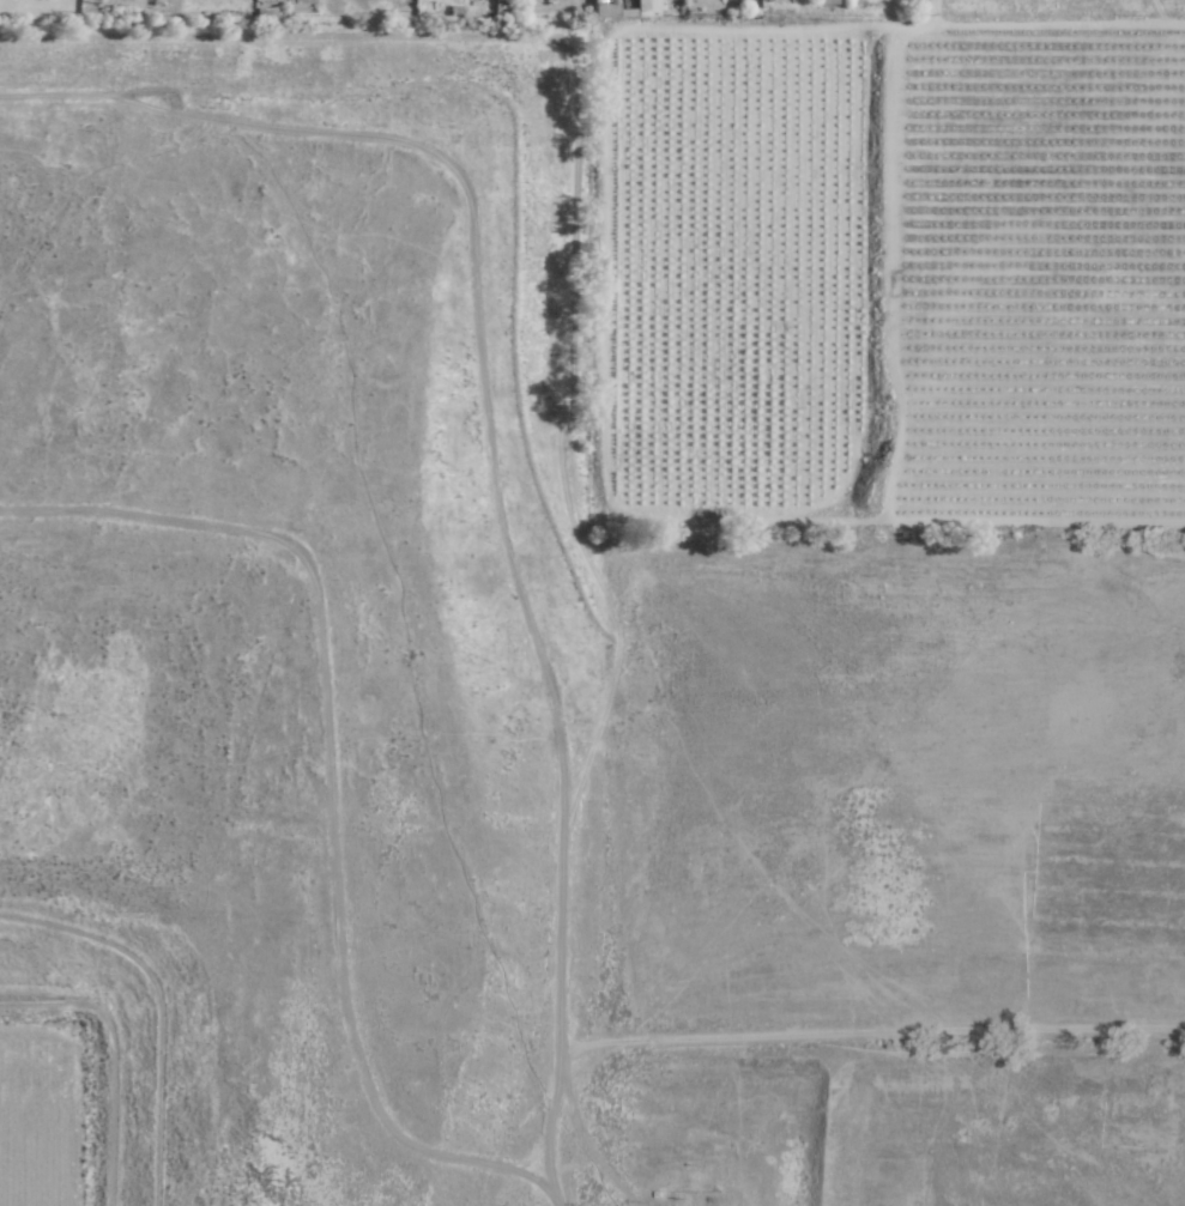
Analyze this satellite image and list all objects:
road: (594, 5)
building: (627, 8)

